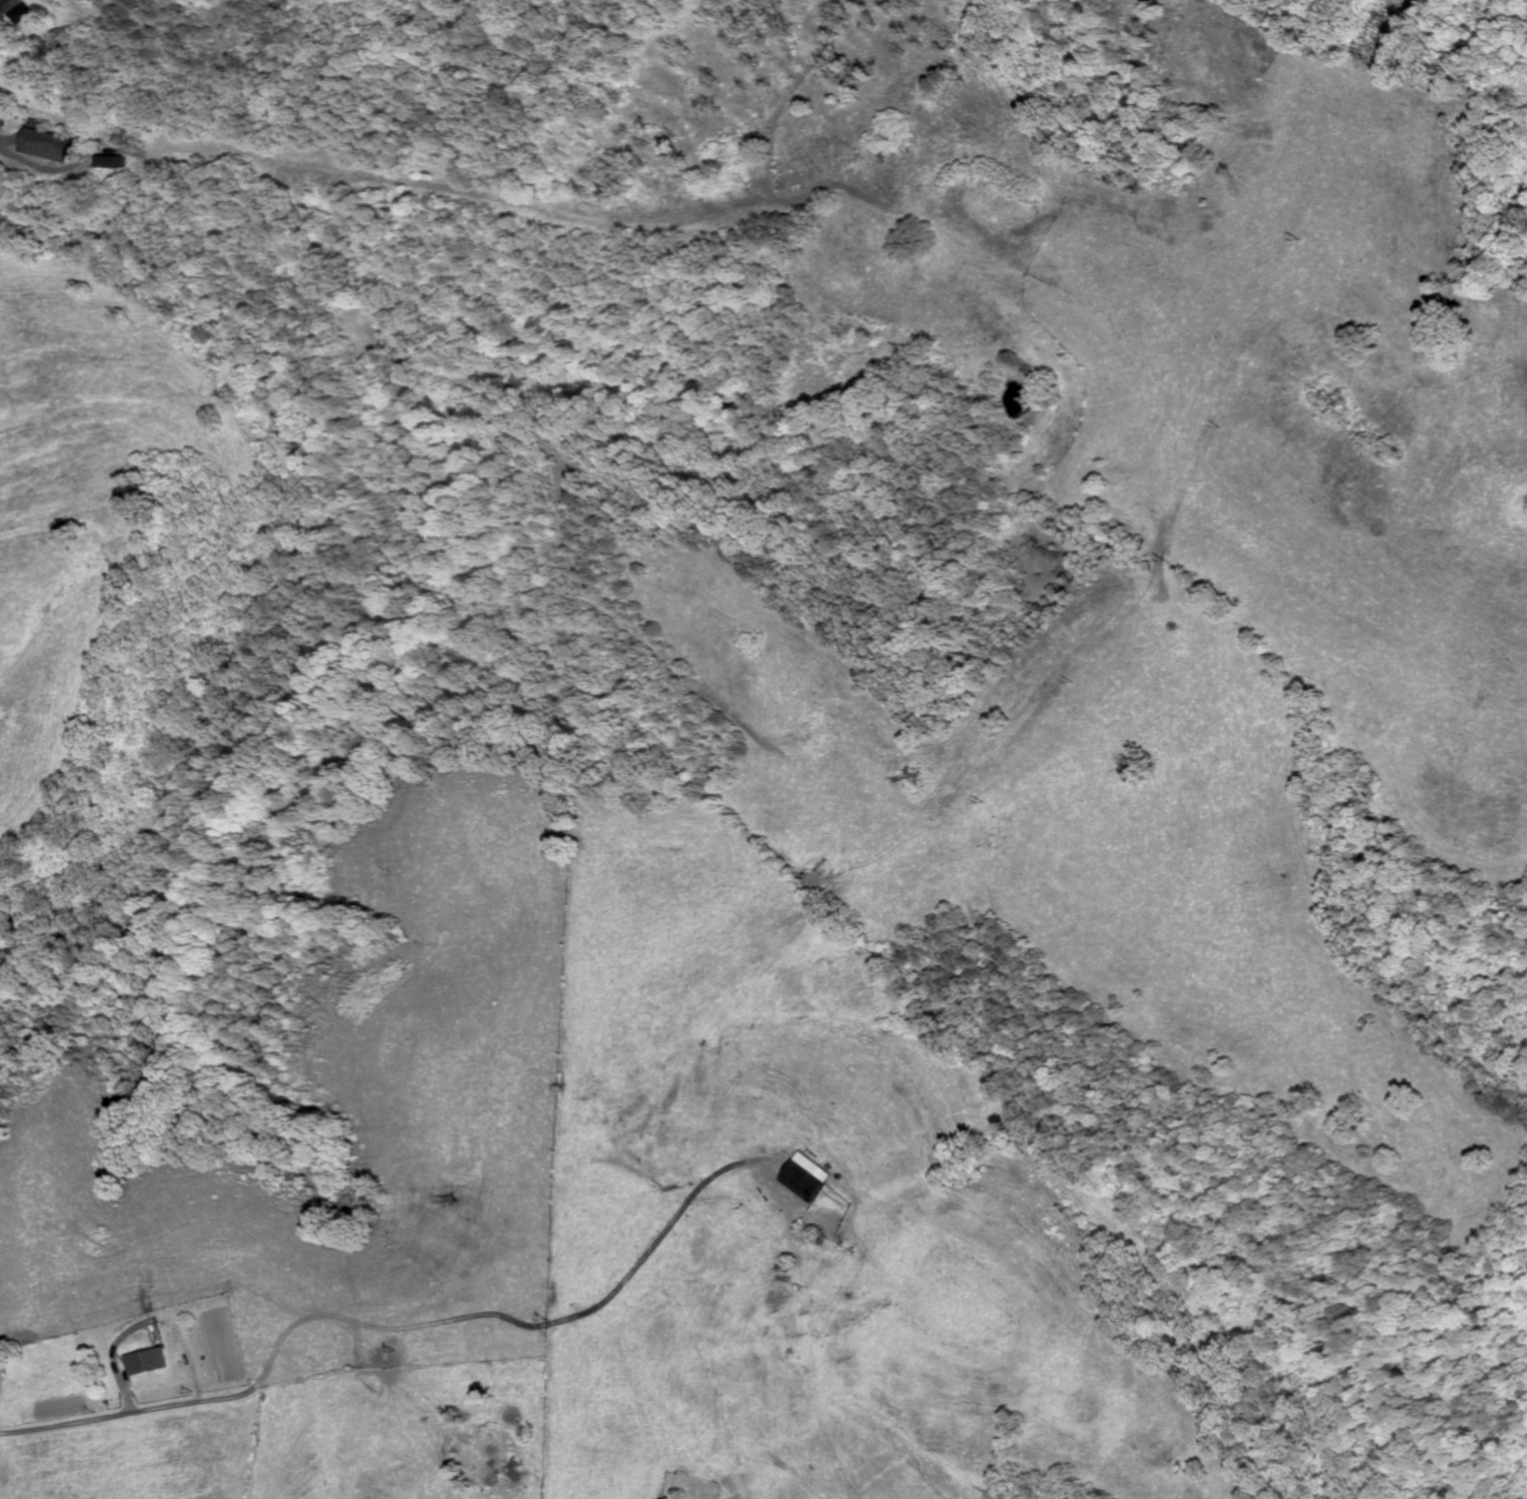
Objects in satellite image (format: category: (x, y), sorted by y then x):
building: (14, 5)
building: (59, 144)
road: (3, 152)
road: (298, 545)
building: (811, 1180)
road: (396, 1324)
building: (152, 1360)

